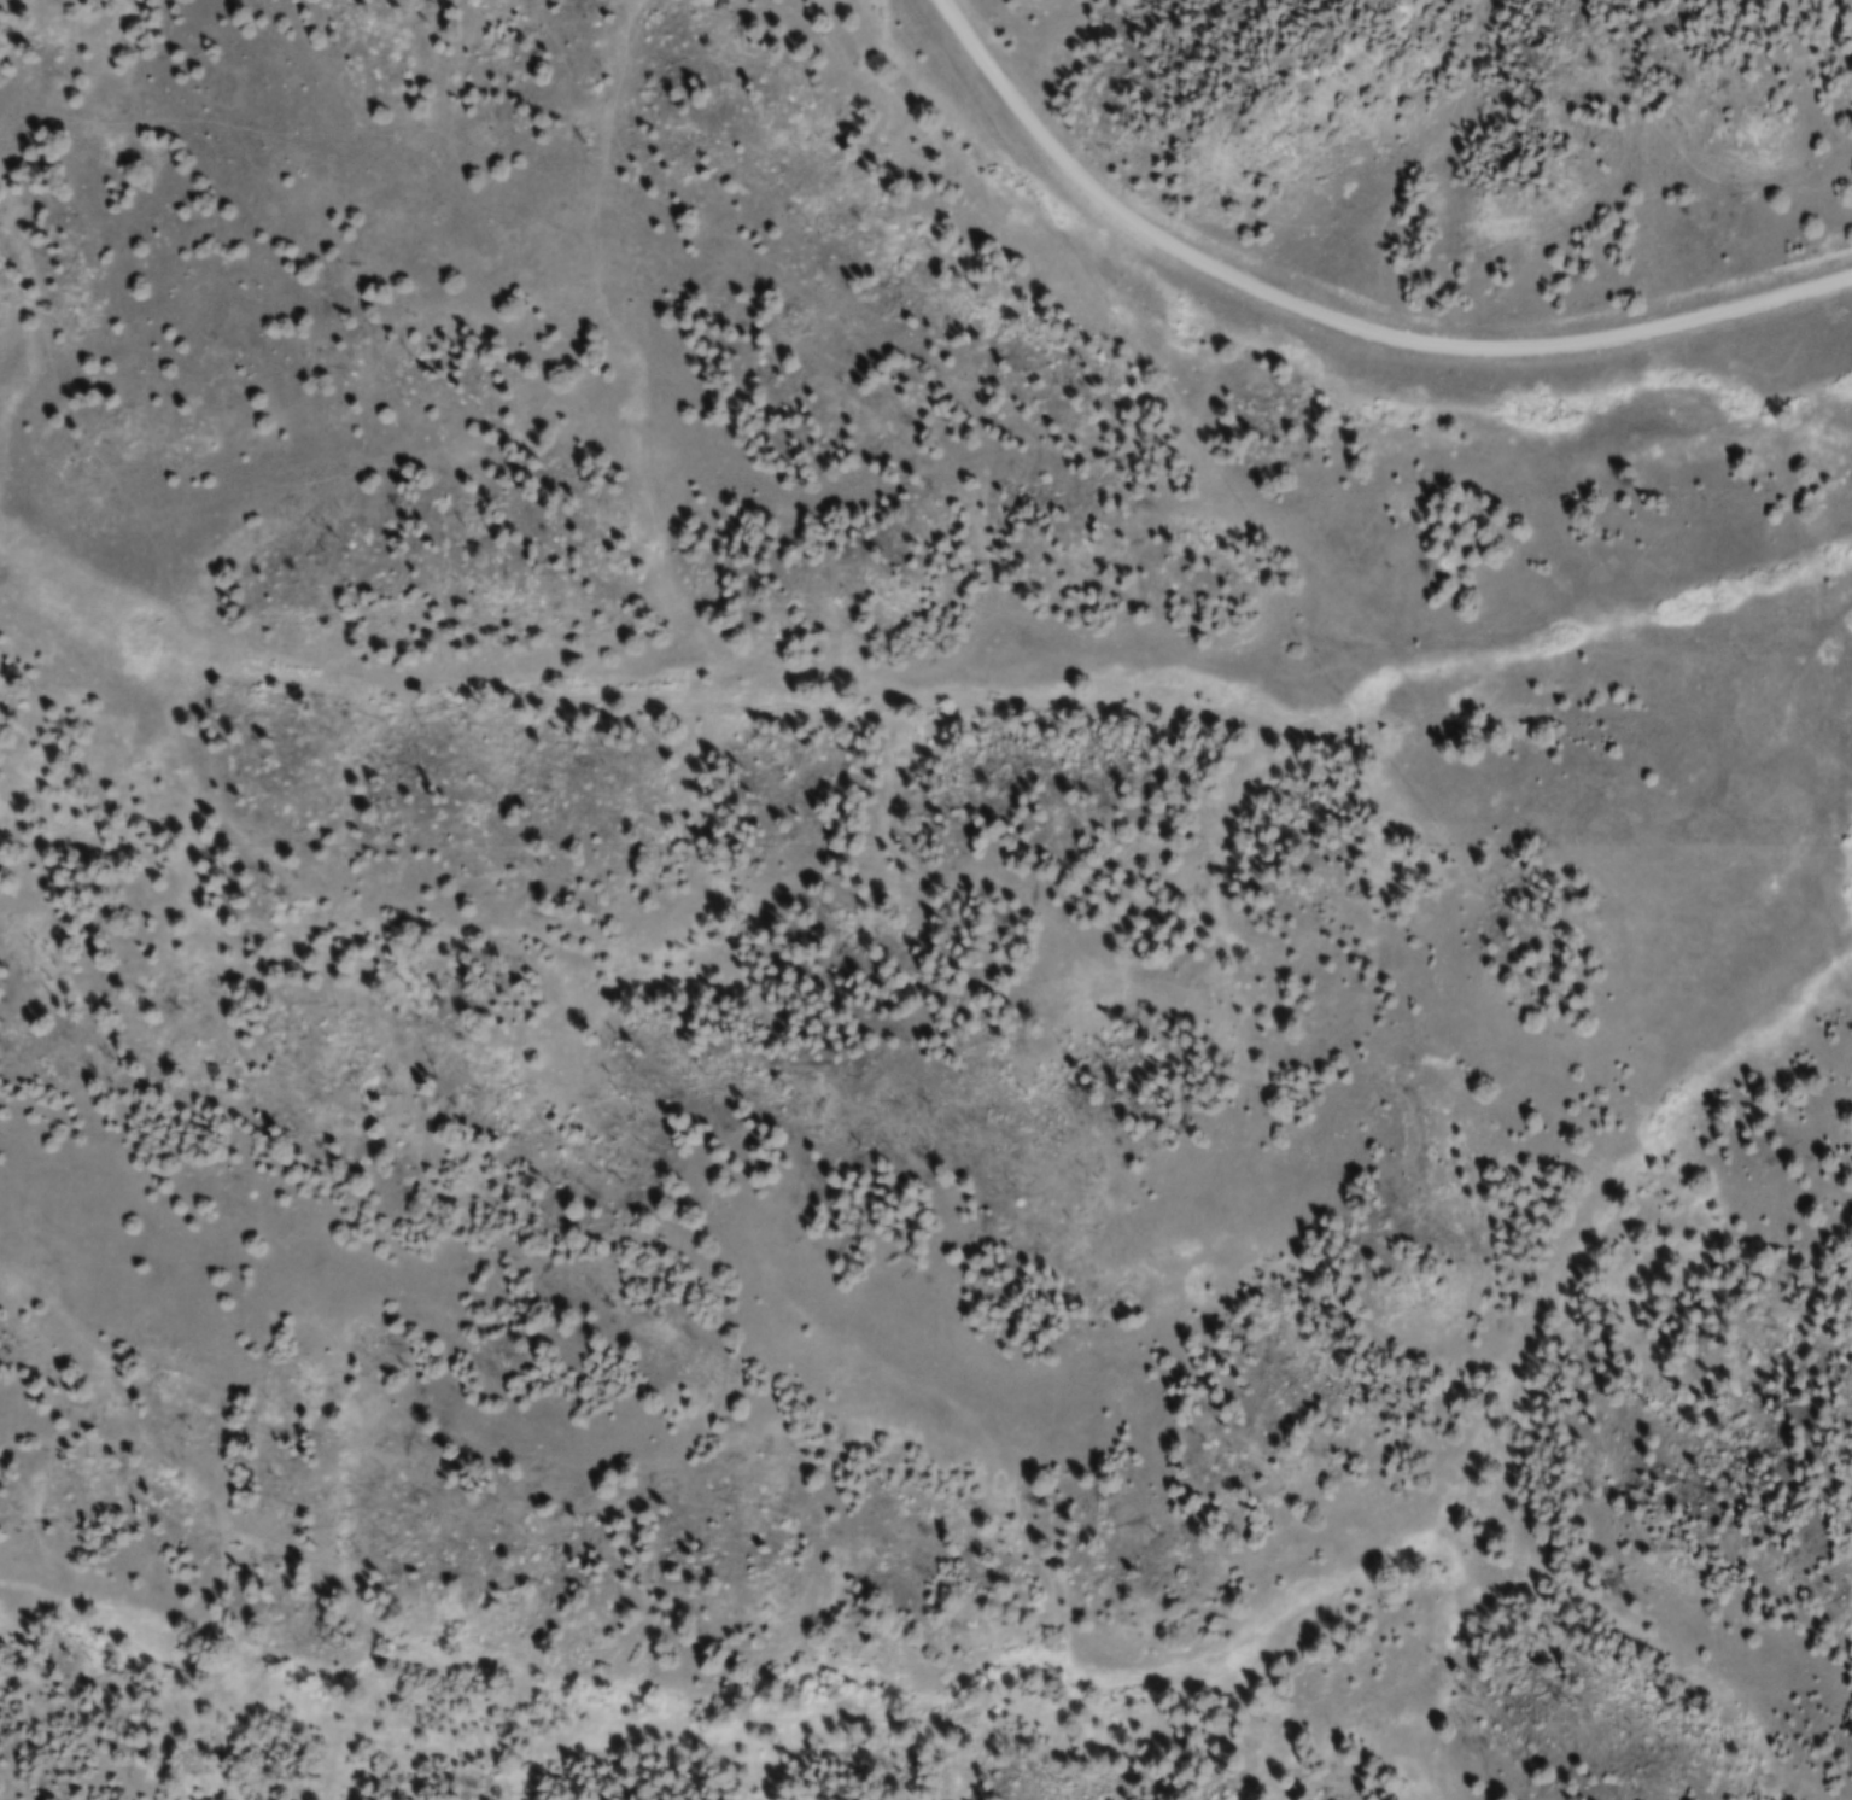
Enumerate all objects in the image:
road: (1343, 316)

